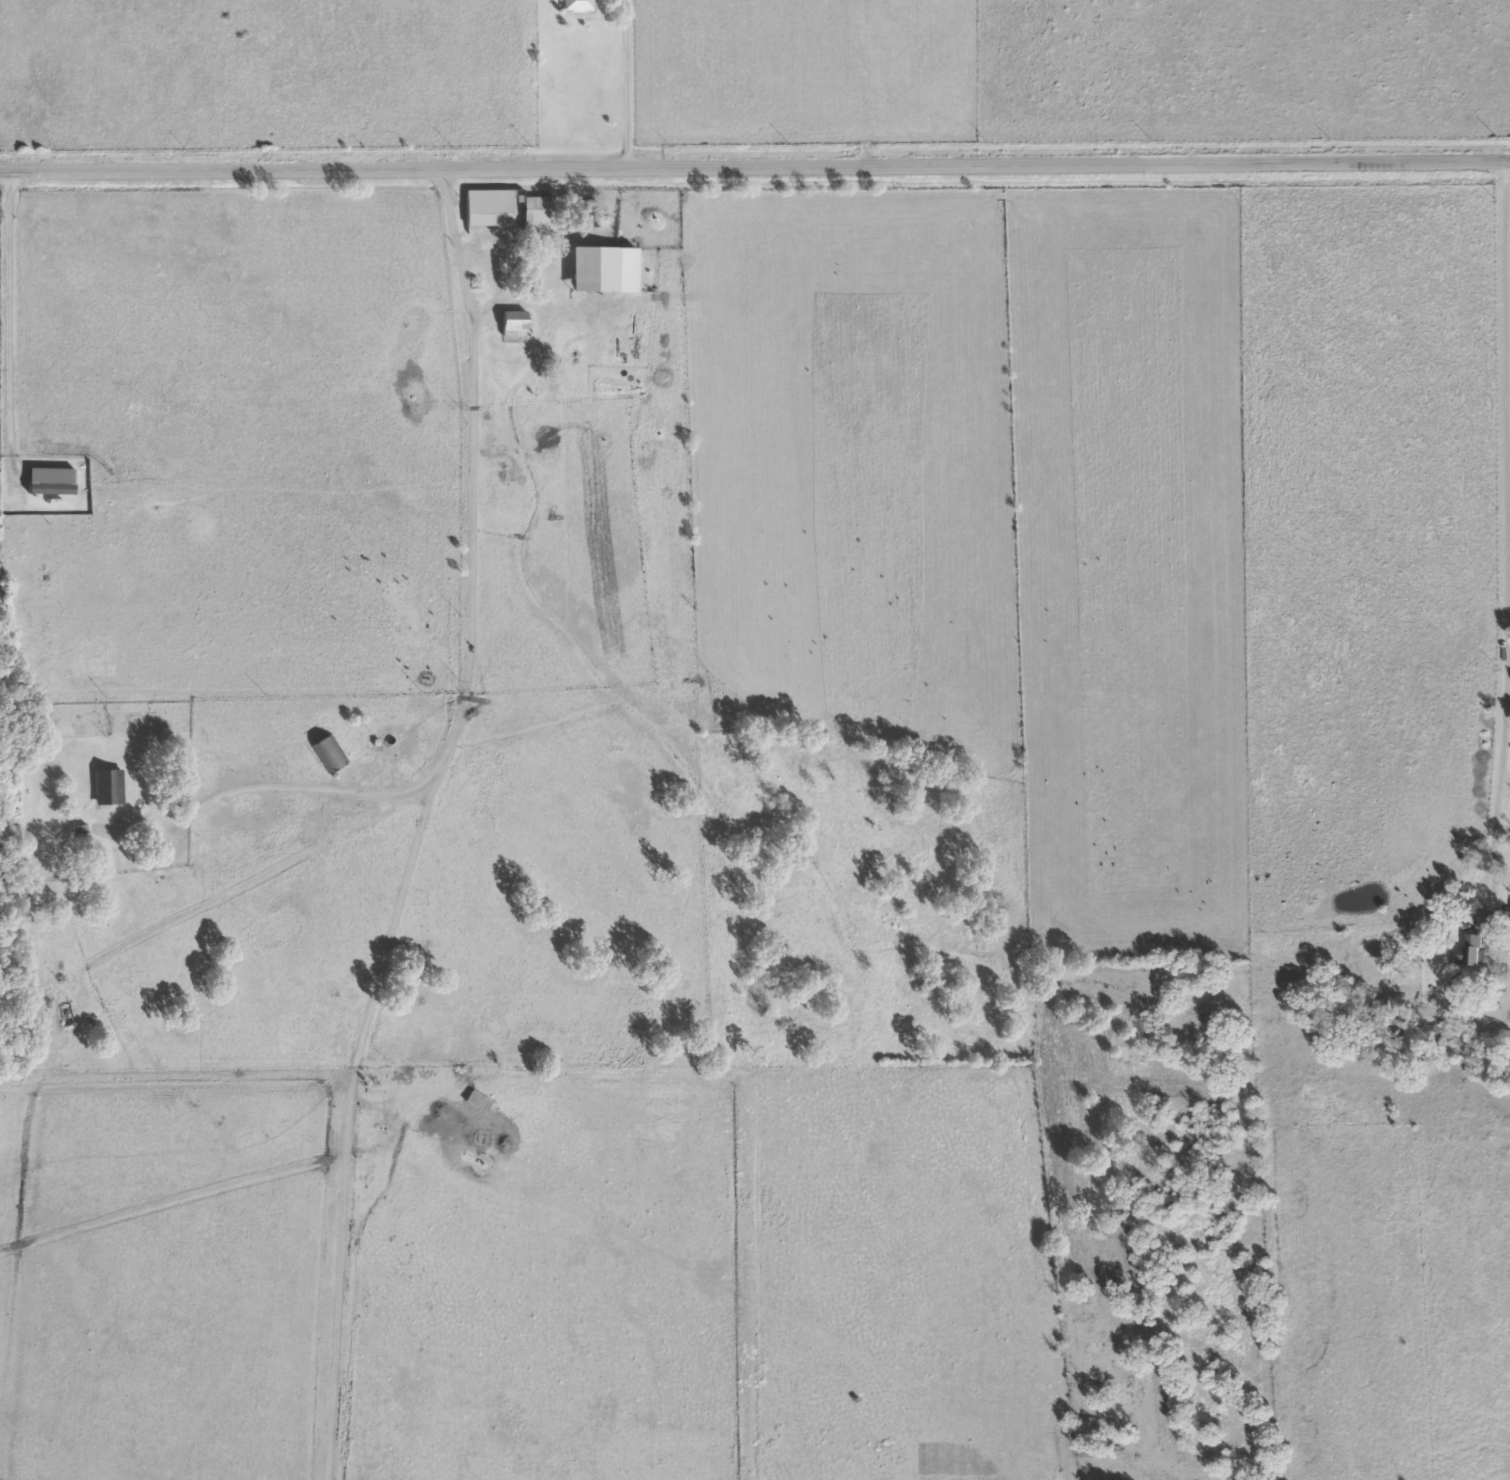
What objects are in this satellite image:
building: (579, 6)
road: (17, 84)
road: (754, 161)
building: (495, 210)
building: (606, 271)
building: (53, 488)
building: (331, 755)
building: (110, 788)
building: (1489, 924)
building: (1472, 952)

